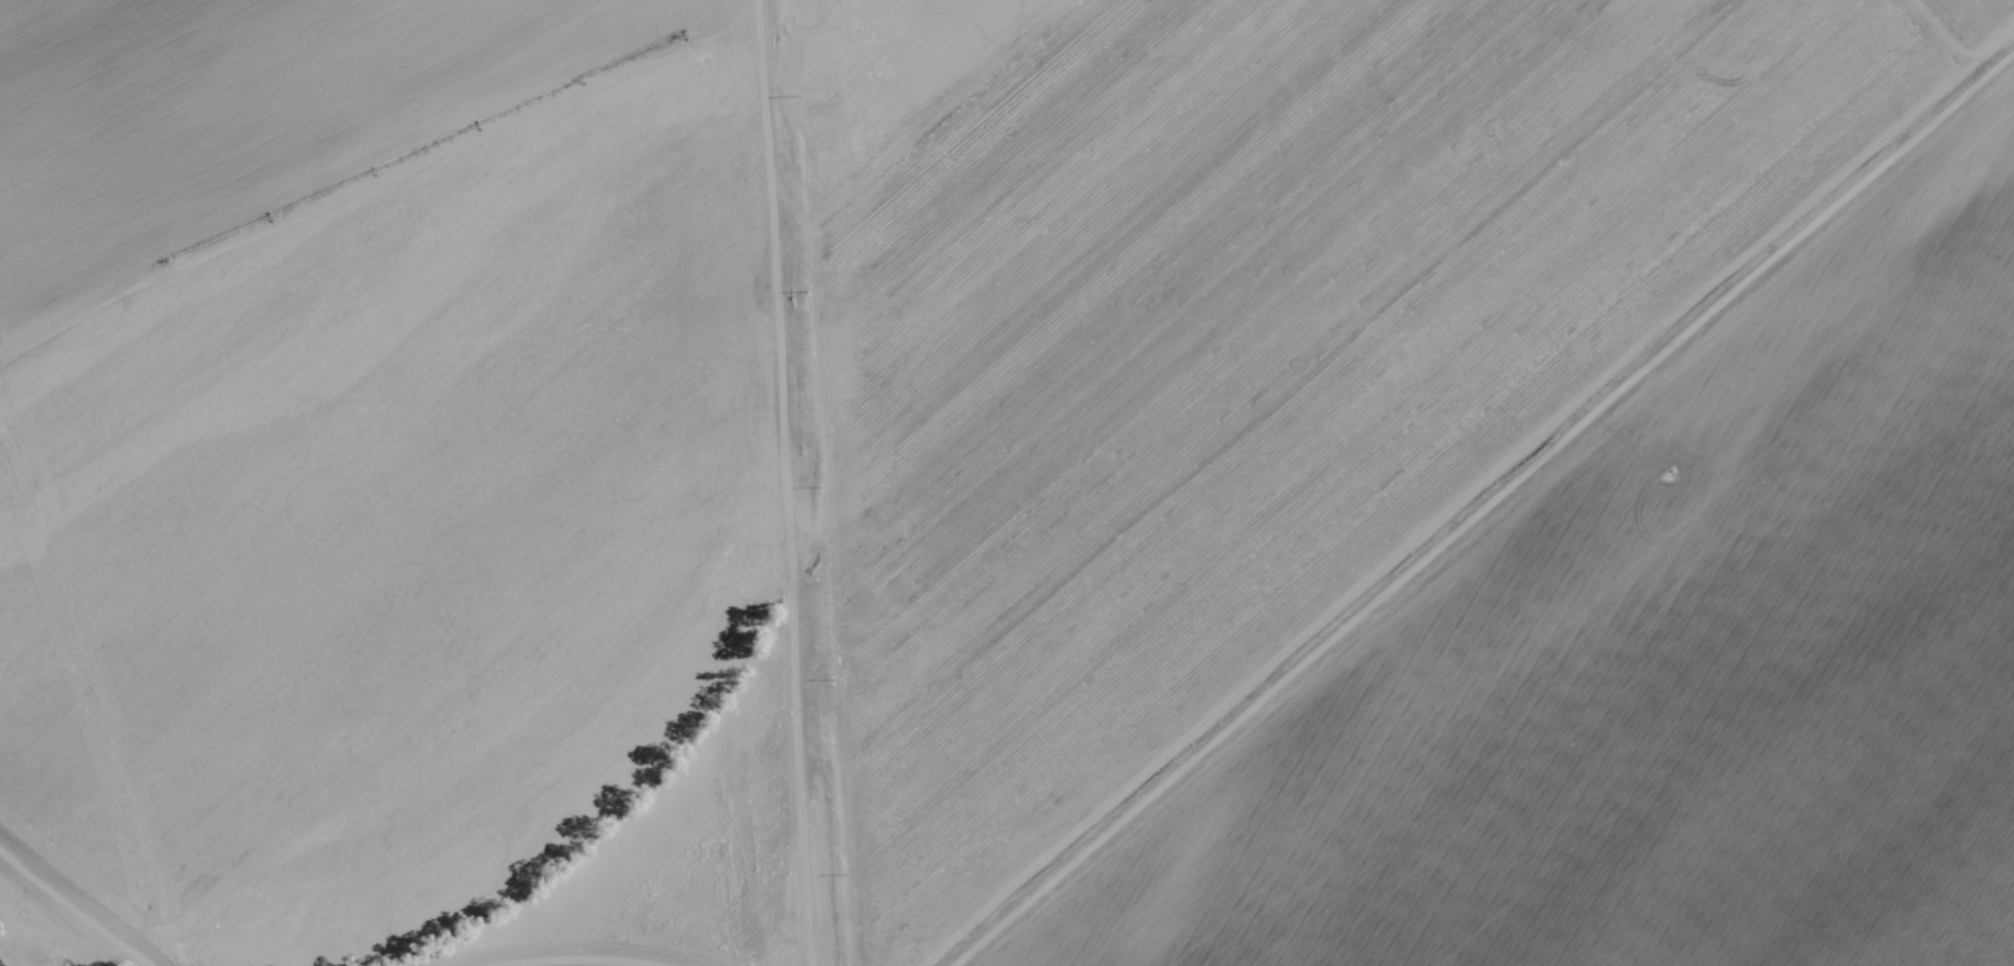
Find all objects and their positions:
road: (791, 483)

